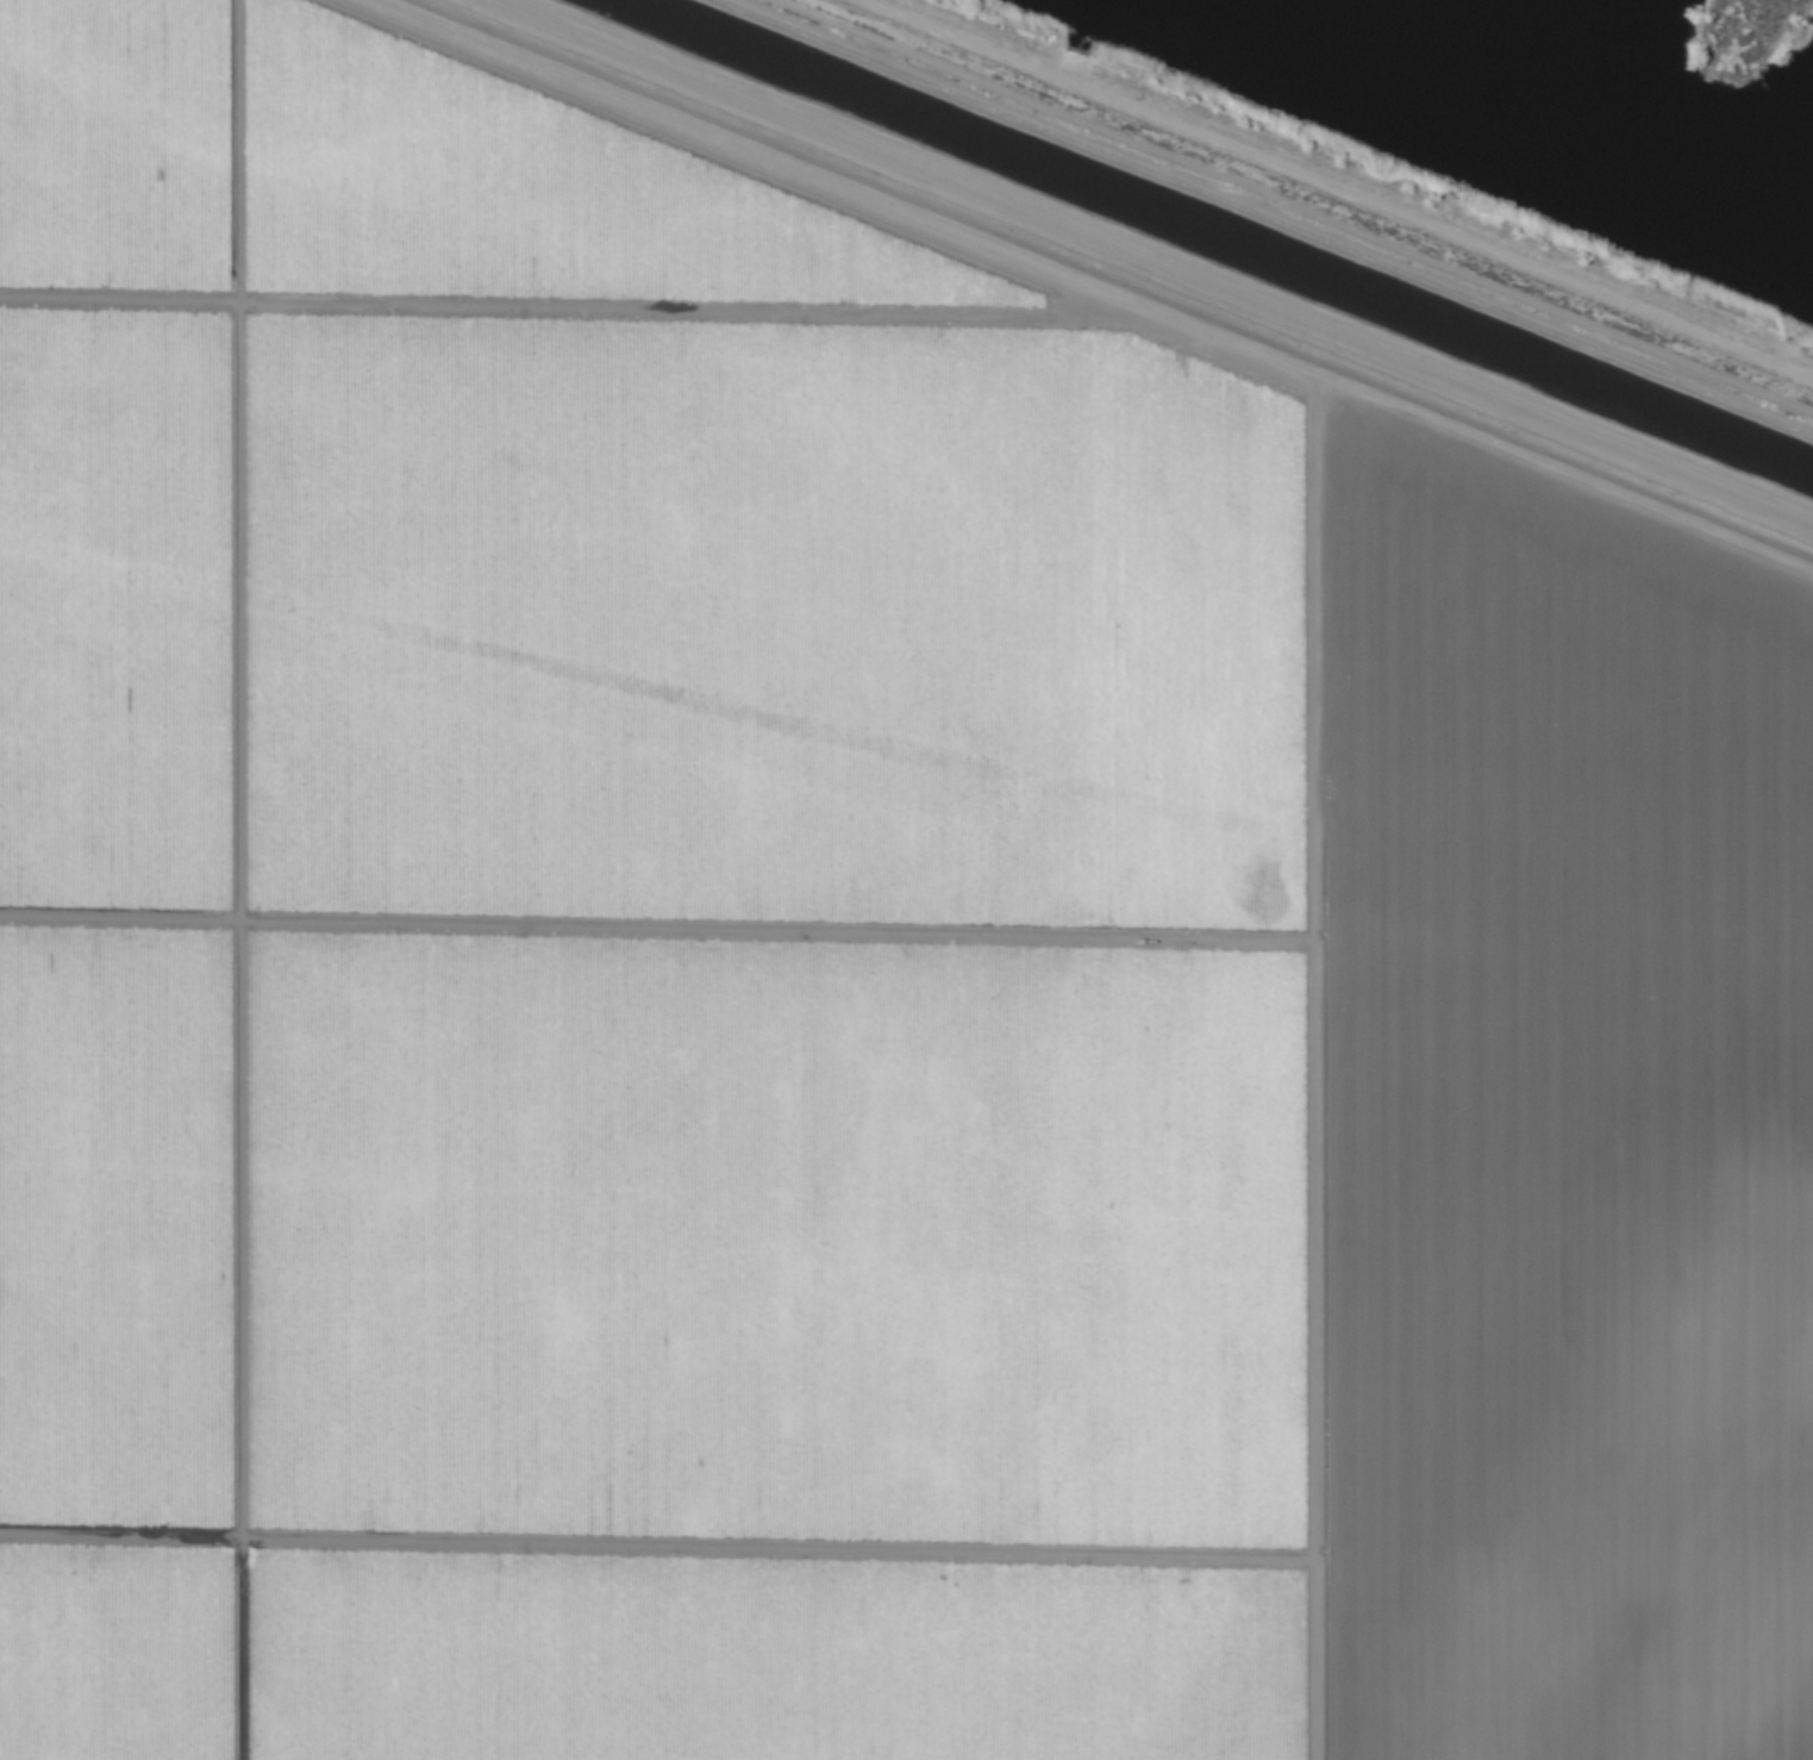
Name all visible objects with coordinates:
building: (1424, 24)
crop: (856, 951)

